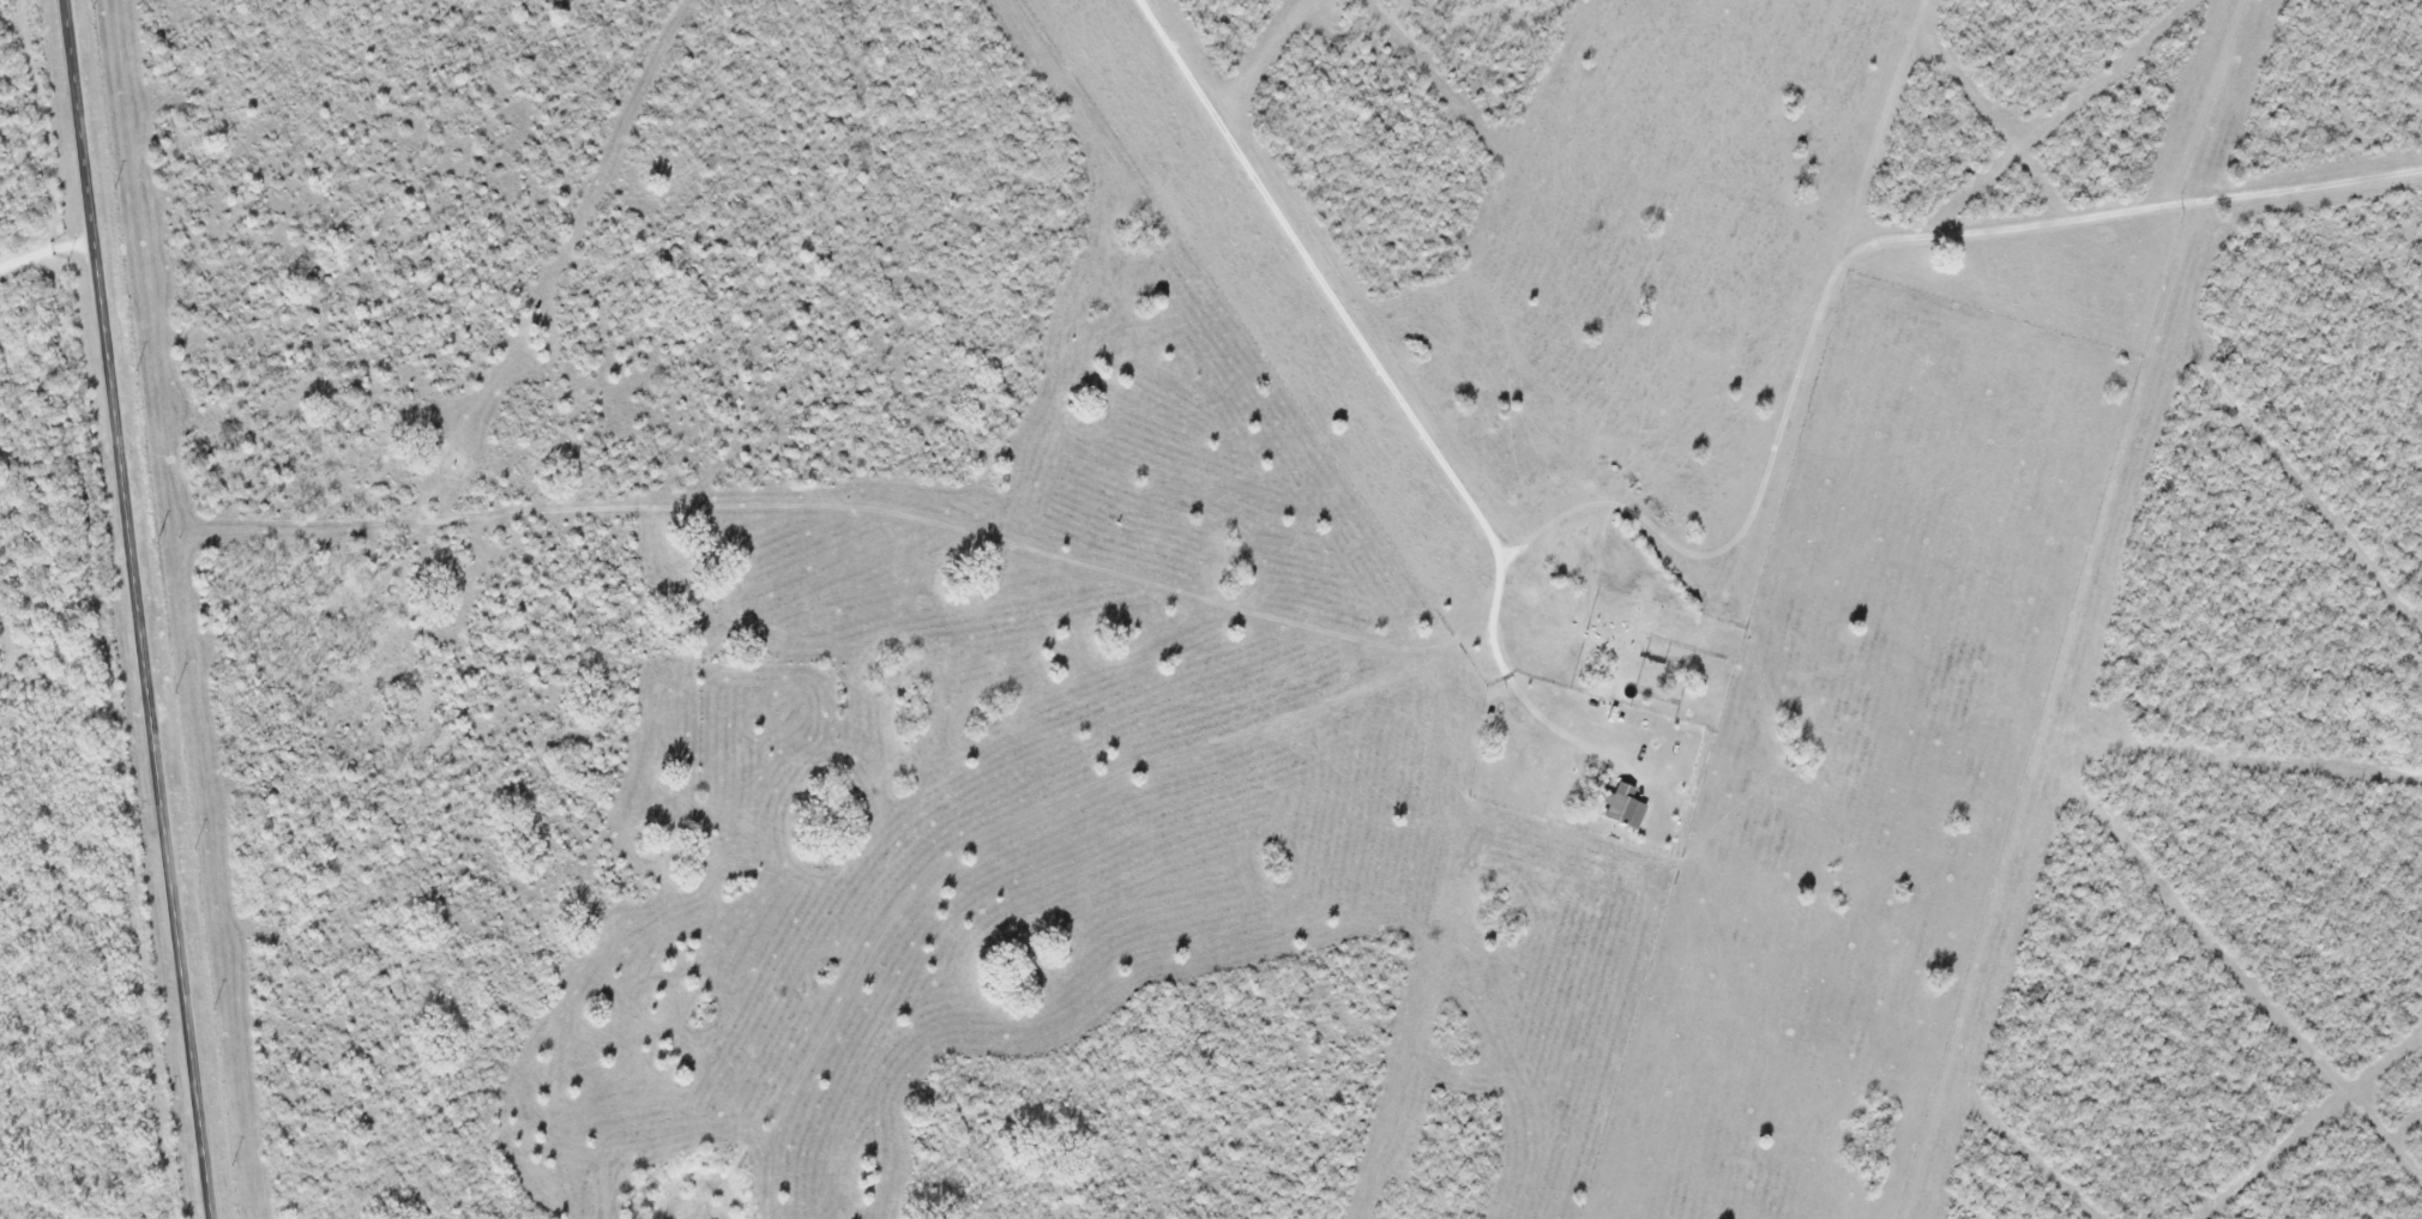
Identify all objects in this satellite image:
road: (47, 251)
road: (139, 609)
building: (1494, 720)
building: (1623, 805)

